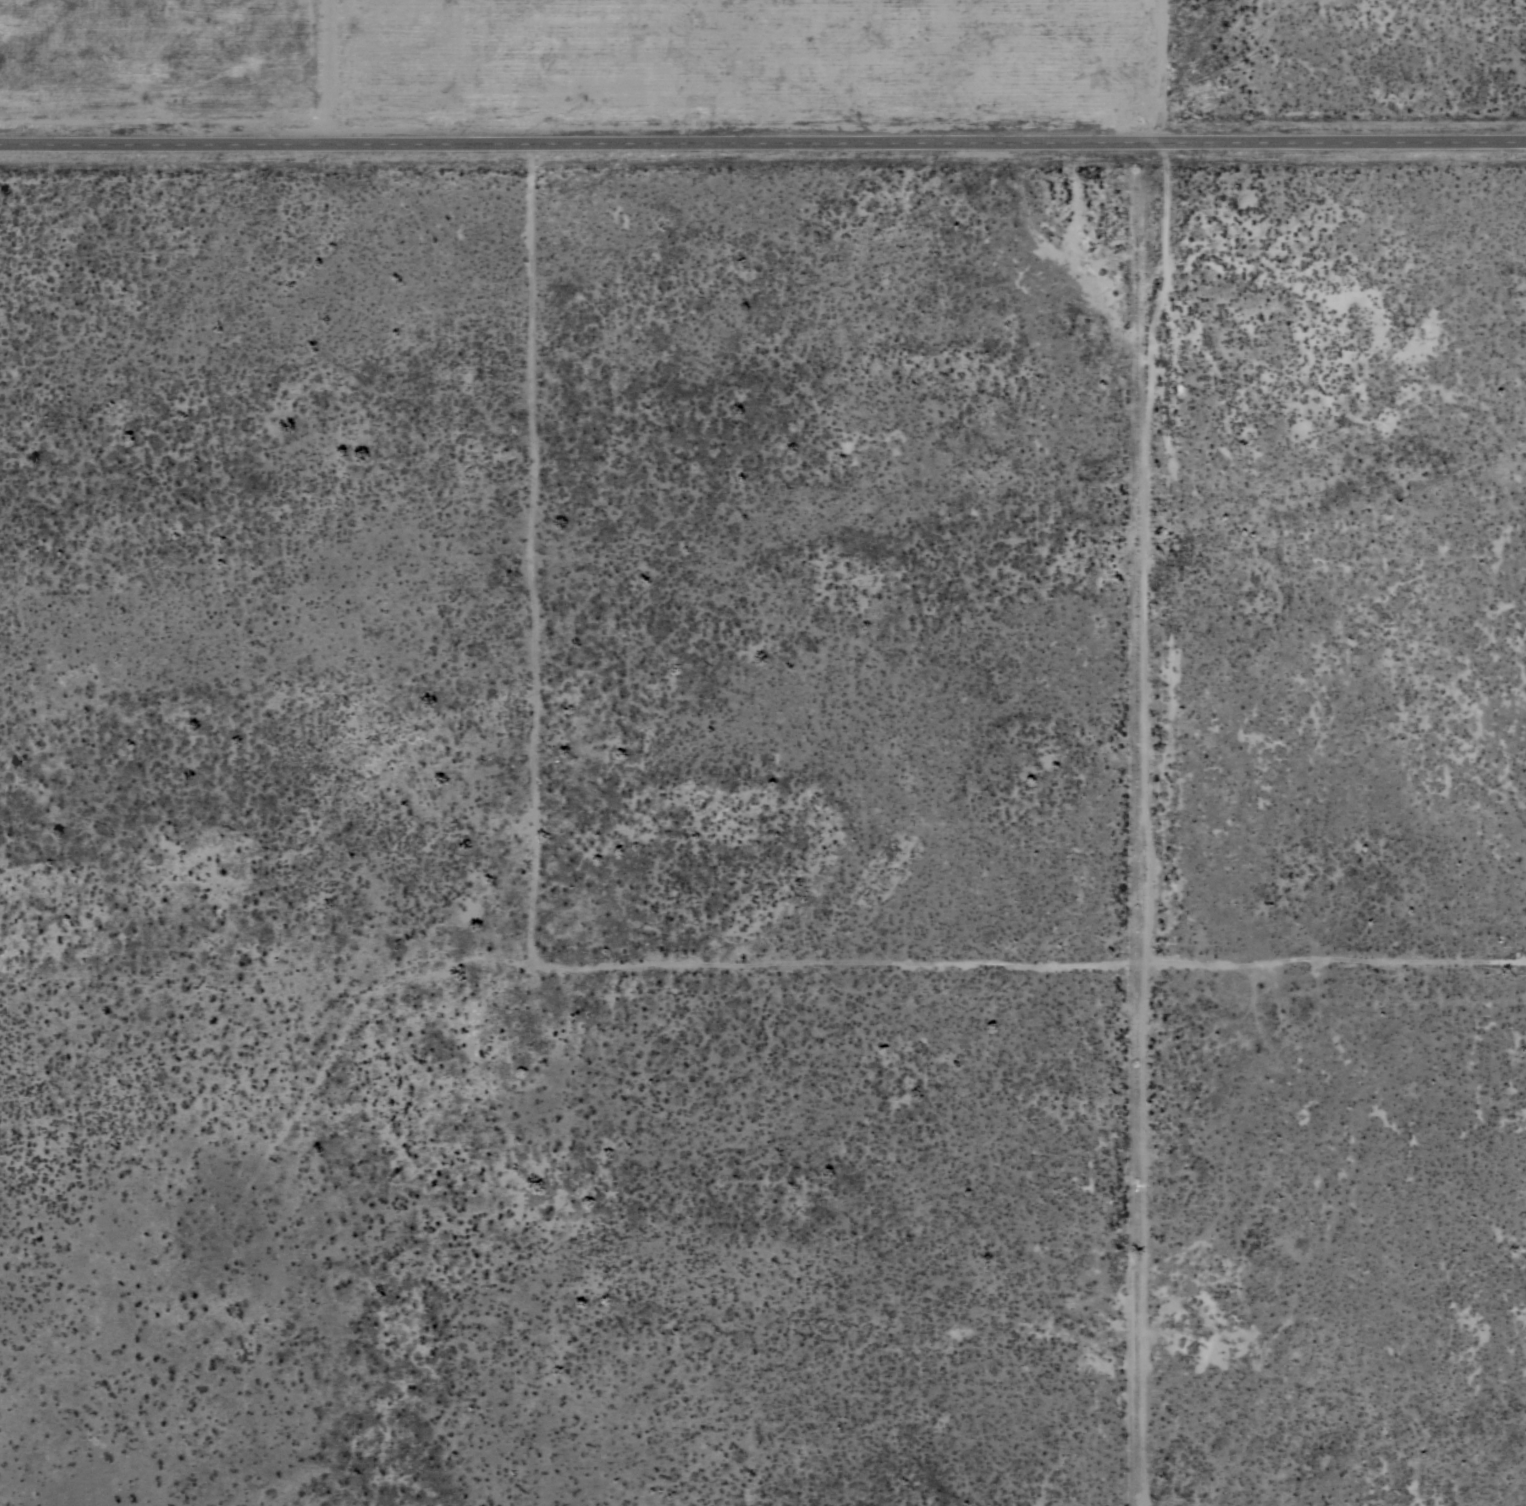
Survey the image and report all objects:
crop: (591, 62)
road: (763, 143)

